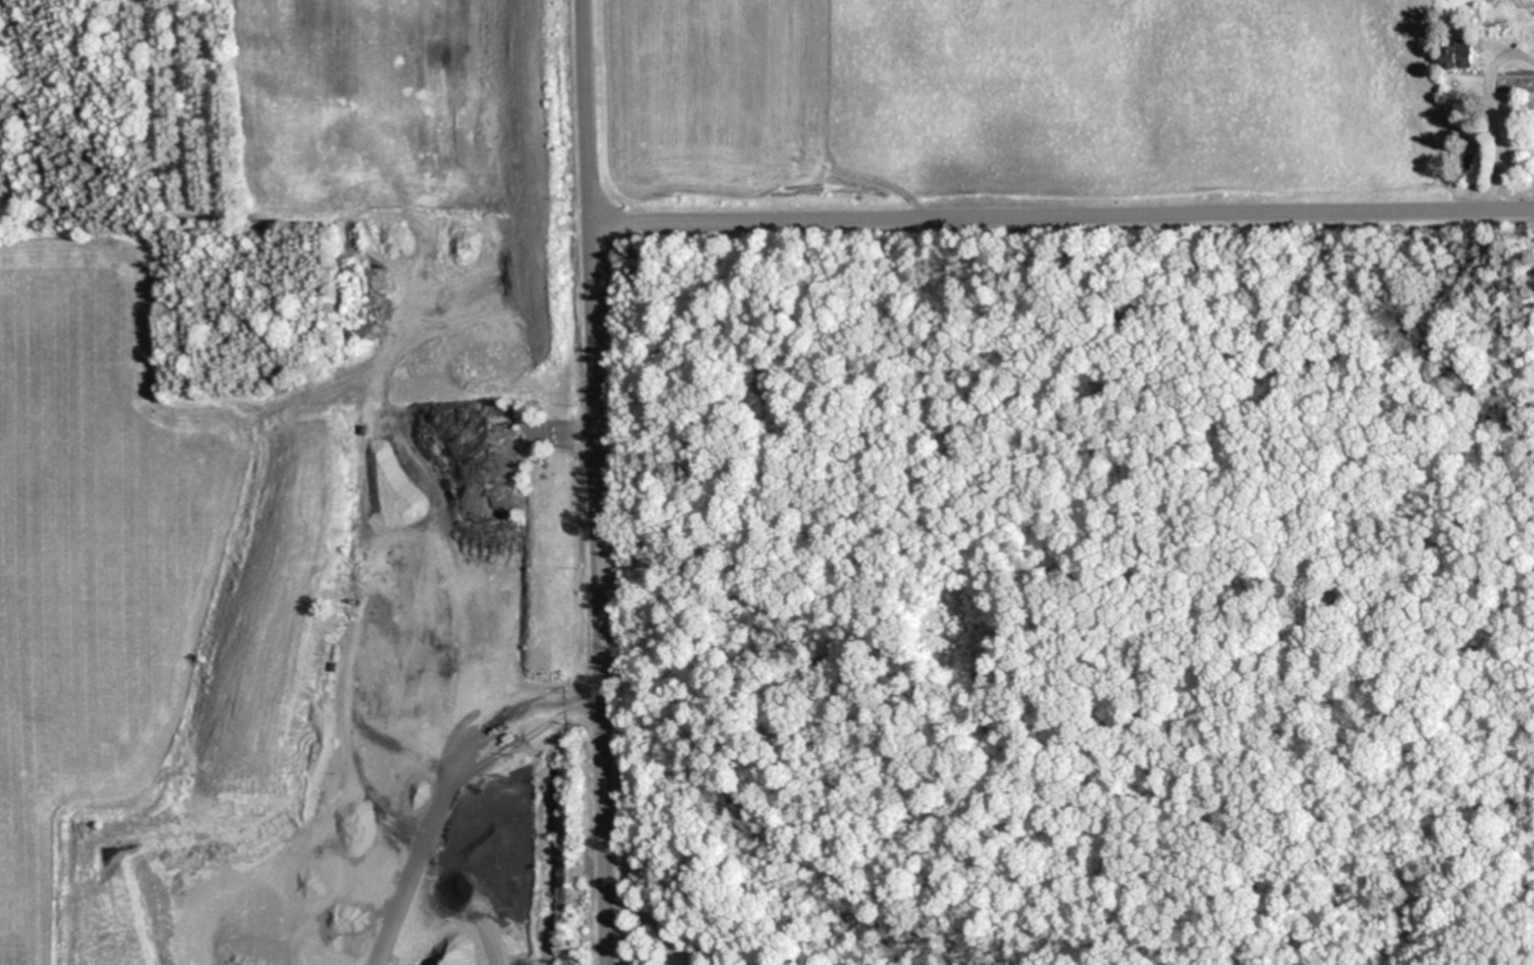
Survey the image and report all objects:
building: (1464, 52)
road: (1062, 215)
road: (599, 482)
quarry: (294, 485)

